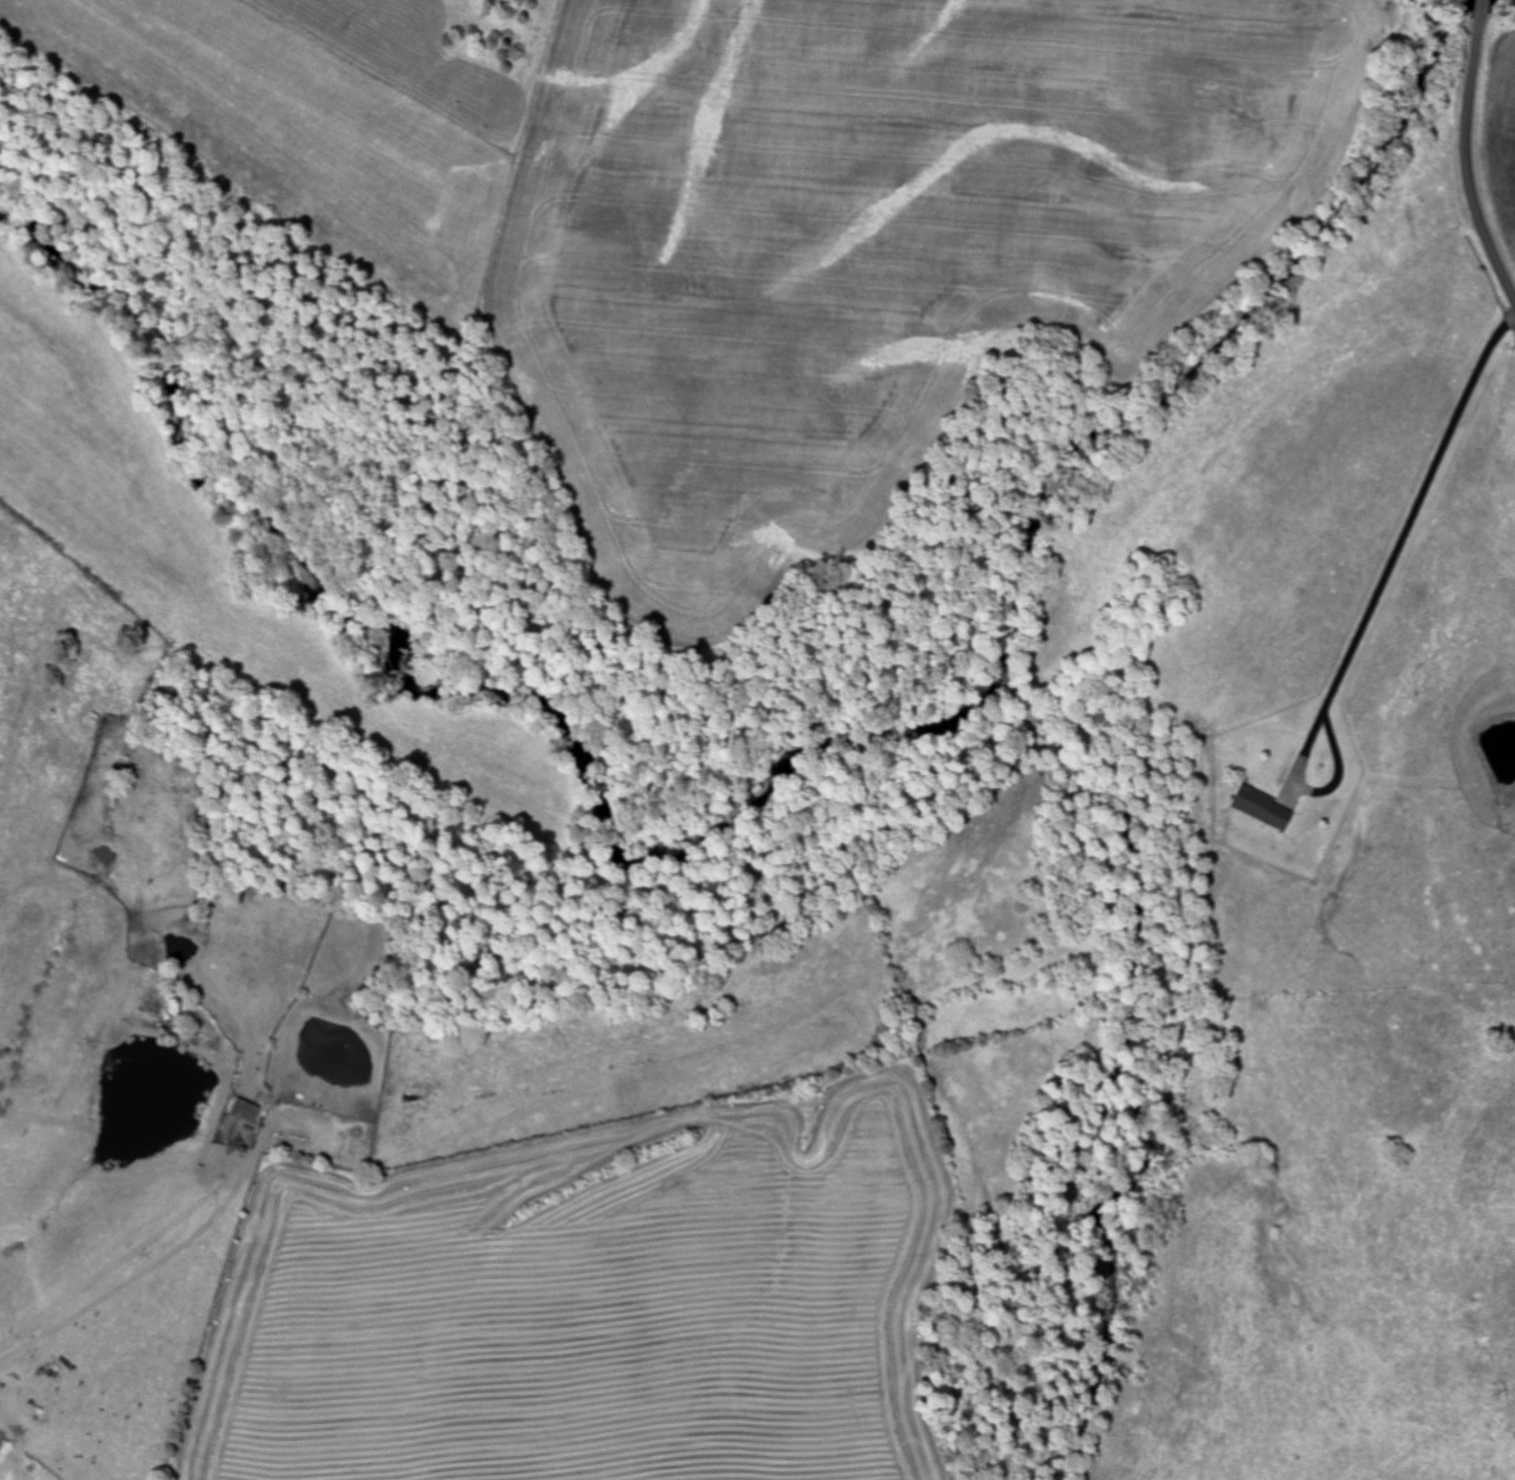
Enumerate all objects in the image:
road: (1466, 154)
building: (1262, 809)
building: (244, 1113)

